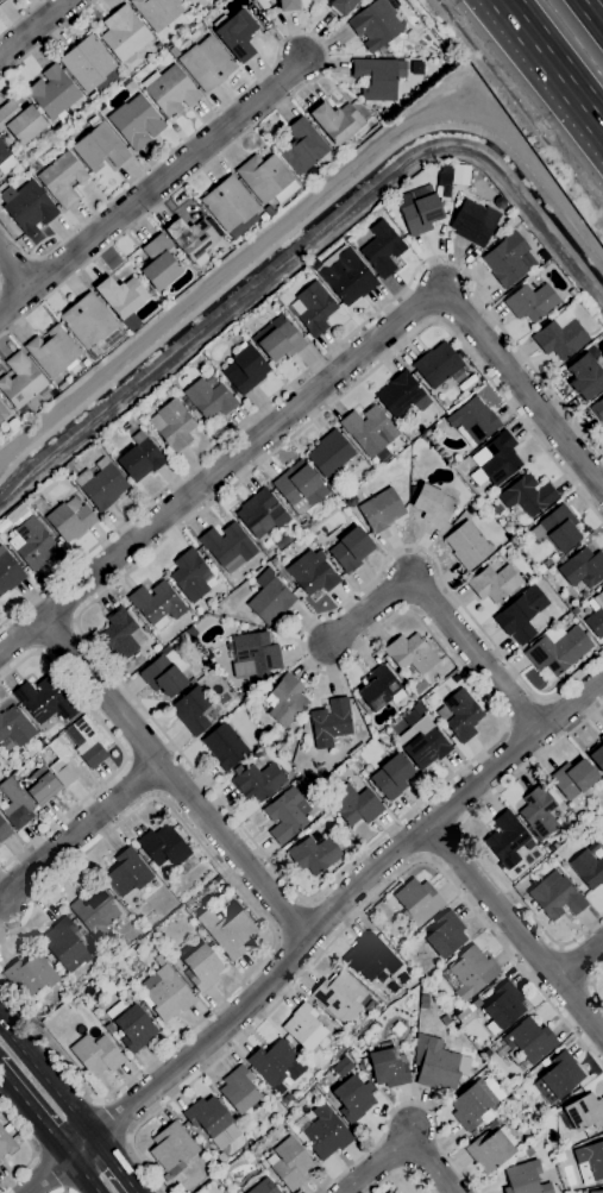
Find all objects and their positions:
building: (1, 1)
building: (197, 2)
building: (288, 5)
building: (341, 7)
building: (158, 12)
road: (592, 12)
road: (21, 18)
building: (376, 25)
road: (33, 29)
building: (125, 34)
building: (235, 34)
road: (48, 39)
road: (325, 54)
building: (205, 62)
road: (552, 64)
building: (89, 65)
building: (378, 79)
building: (170, 92)
building: (54, 94)
building: (94, 98)
building: (20, 123)
building: (136, 123)
building: (337, 123)
building: (100, 147)
building: (302, 147)
building: (340, 153)
building: (6, 161)
road: (167, 177)
building: (62, 180)
building: (266, 180)
building: (27, 207)
building: (231, 207)
building: (419, 211)
building: (269, 212)
building: (264, 218)
building: (473, 224)
building: (193, 239)
building: (382, 250)
building: (509, 260)
building: (159, 263)
road: (15, 272)
road: (219, 278)
building: (347, 278)
building: (121, 296)
building: (530, 302)
road: (15, 304)
building: (314, 309)
building: (88, 321)
building: (560, 339)
building: (278, 340)
building: (52, 352)
road: (324, 358)
building: (438, 365)
building: (245, 370)
building: (585, 378)
building: (20, 383)
building: (61, 384)
road: (320, 389)
building: (401, 396)
building: (209, 400)
building: (597, 410)
building: (2, 414)
building: (473, 422)
building: (172, 426)
building: (369, 431)
building: (329, 454)
building: (139, 459)
building: (500, 459)
building: (101, 485)
building: (301, 488)
building: (527, 498)
building: (433, 506)
building: (382, 510)
building: (262, 514)
building: (70, 520)
building: (557, 529)
building: (31, 544)
building: (467, 546)
building: (227, 547)
building: (351, 551)
building: (583, 569)
building: (8, 573)
building: (313, 573)
building: (189, 576)
building: (494, 584)
building: (269, 599)
building: (157, 604)
road: (440, 613)
building: (521, 615)
building: (596, 616)
building: (120, 635)
building: (558, 652)
building: (253, 655)
building: (410, 655)
building: (164, 674)
building: (379, 690)
building: (43, 701)
building: (284, 701)
building: (194, 711)
building: (461, 716)
building: (331, 723)
building: (15, 728)
building: (89, 743)
building: (425, 745)
building: (225, 747)
road: (121, 751)
building: (597, 755)
building: (63, 762)
building: (19, 777)
building: (391, 778)
building: (573, 779)
road: (172, 780)
building: (258, 783)
building: (42, 786)
building: (15, 804)
building: (356, 805)
building: (539, 812)
building: (285, 816)
building: (4, 829)
road: (78, 831)
road: (466, 837)
building: (602, 837)
building: (507, 840)
road: (441, 842)
building: (163, 847)
building: (314, 855)
road: (272, 868)
building: (588, 869)
building: (127, 873)
building: (555, 897)
building: (414, 903)
building: (94, 910)
road: (290, 918)
road: (351, 921)
building: (228, 930)
road: (515, 930)
road: (312, 931)
building: (446, 935)
road: (272, 936)
building: (65, 946)
building: (370, 957)
building: (159, 961)
road: (580, 961)
building: (200, 967)
building: (469, 973)
building: (31, 975)
building: (82, 984)
road: (592, 986)
building: (165, 994)
building: (338, 994)
building: (423, 1003)
building: (475, 1005)
building: (504, 1006)
building: (464, 1016)
building: (445, 1022)
building: (131, 1026)
building: (304, 1029)
building: (112, 1032)
building: (527, 1043)
building: (486, 1054)
building: (96, 1055)
building: (276, 1063)
building: (439, 1065)
building: (389, 1068)
building: (561, 1075)
road: (48, 1076)
building: (238, 1091)
building: (352, 1100)
road: (404, 1105)
building: (472, 1105)
building: (519, 1107)
building: (584, 1113)
road: (34, 1114)
road: (112, 1120)
building: (500, 1120)
building: (212, 1122)
building: (322, 1134)
road: (401, 1139)
building: (6, 1144)
building: (172, 1148)
road: (32, 1150)
building: (490, 1150)
building: (528, 1153)
building: (590, 1162)
road: (115, 1163)
building: (289, 1163)
road: (403, 1170)
road: (50, 1173)
road: (82, 1175)
building: (167, 1179)
building: (525, 1179)
building: (258, 1185)
building: (388, 1192)
building: (388, 1192)
building: (598, 1192)

